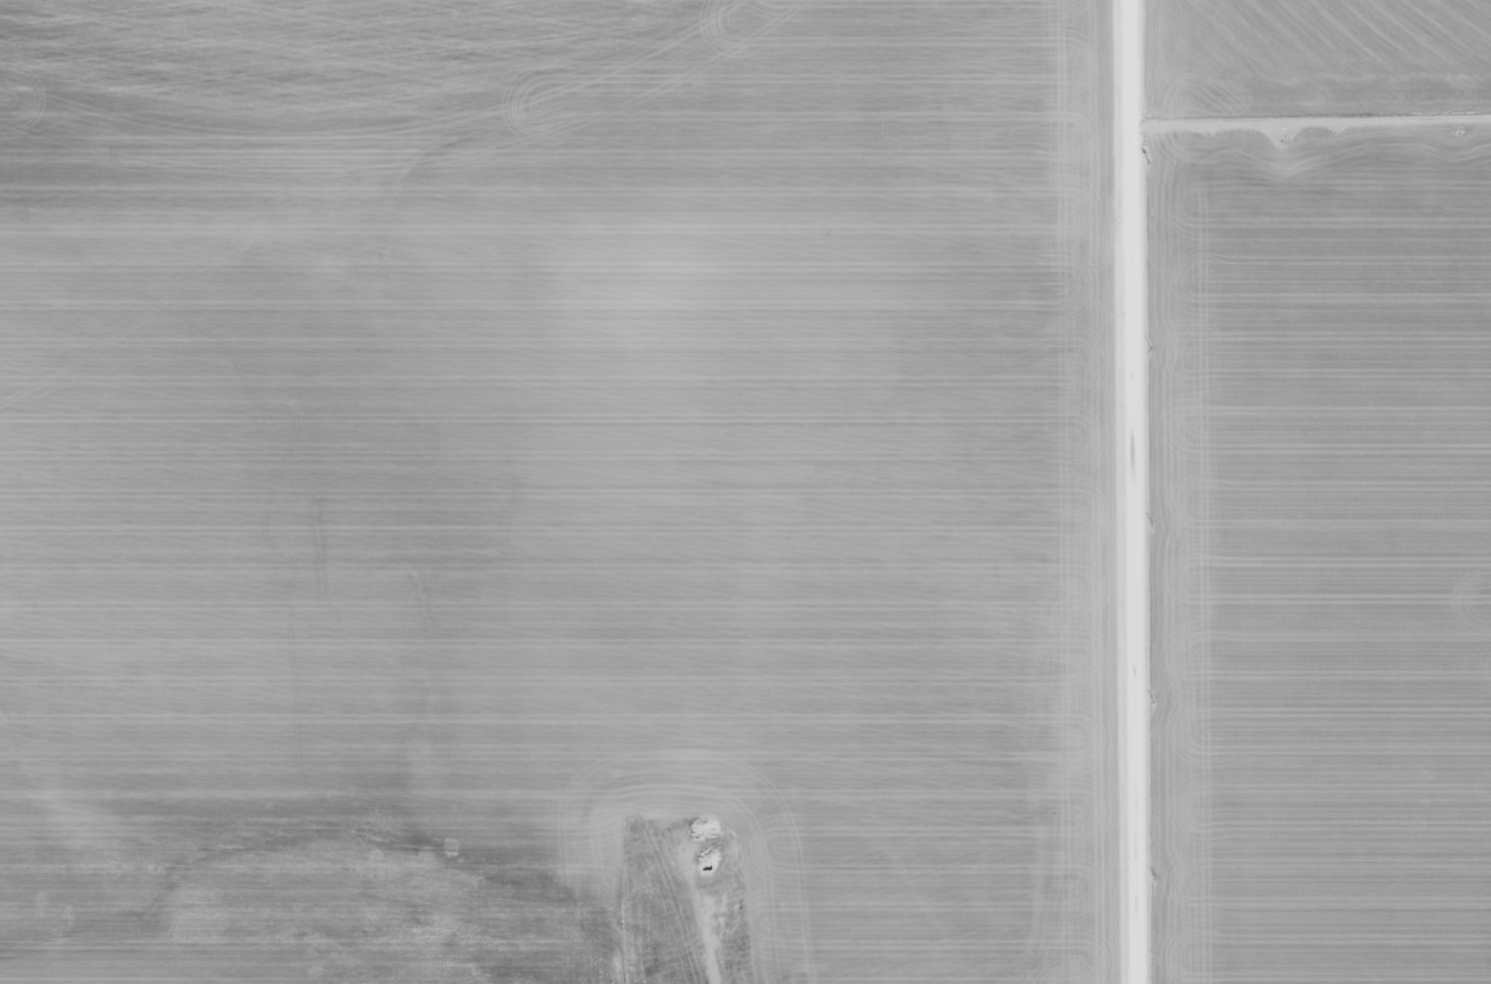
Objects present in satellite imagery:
road: (1129, 492)

